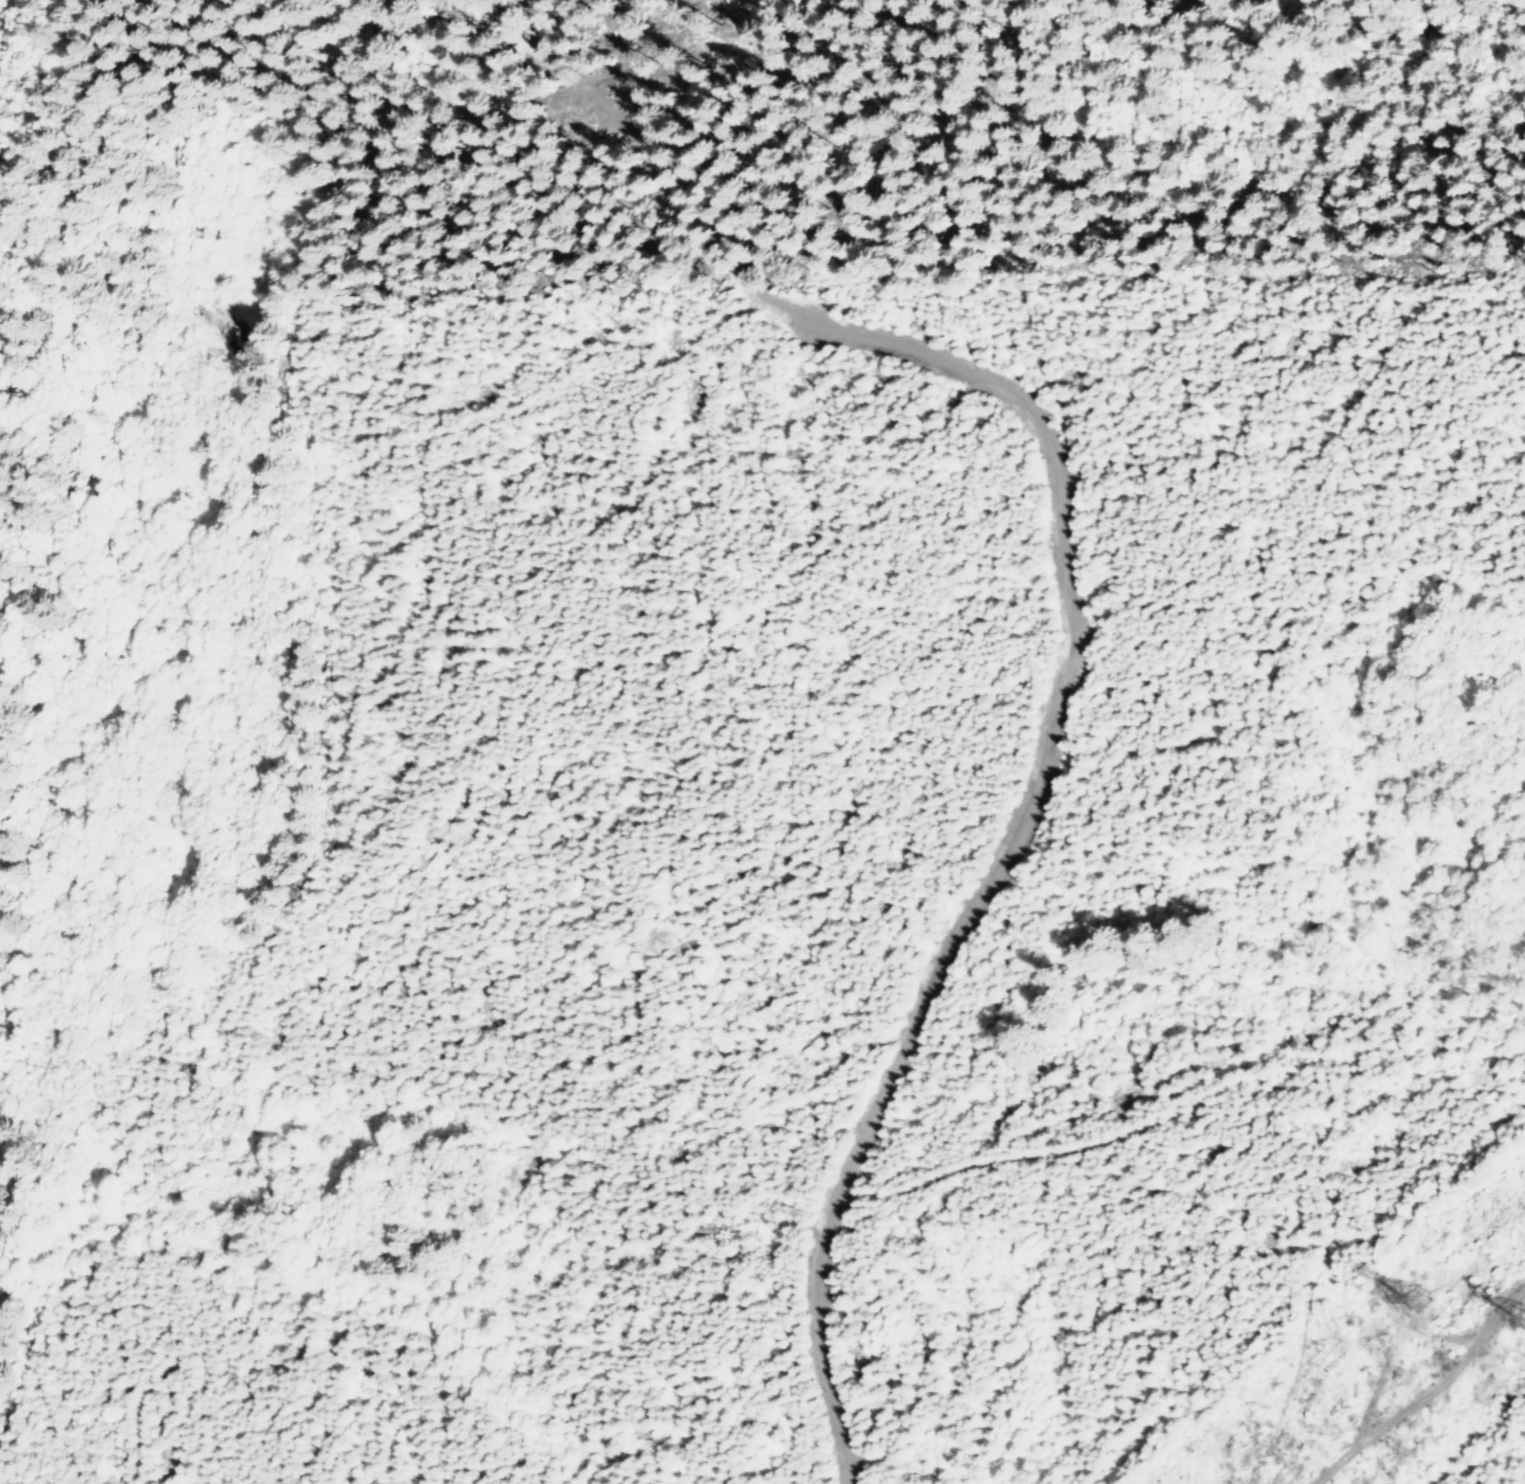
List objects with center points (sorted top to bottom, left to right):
road: (1063, 618)
power tower: (1427, 1306)
road: (1424, 1395)

